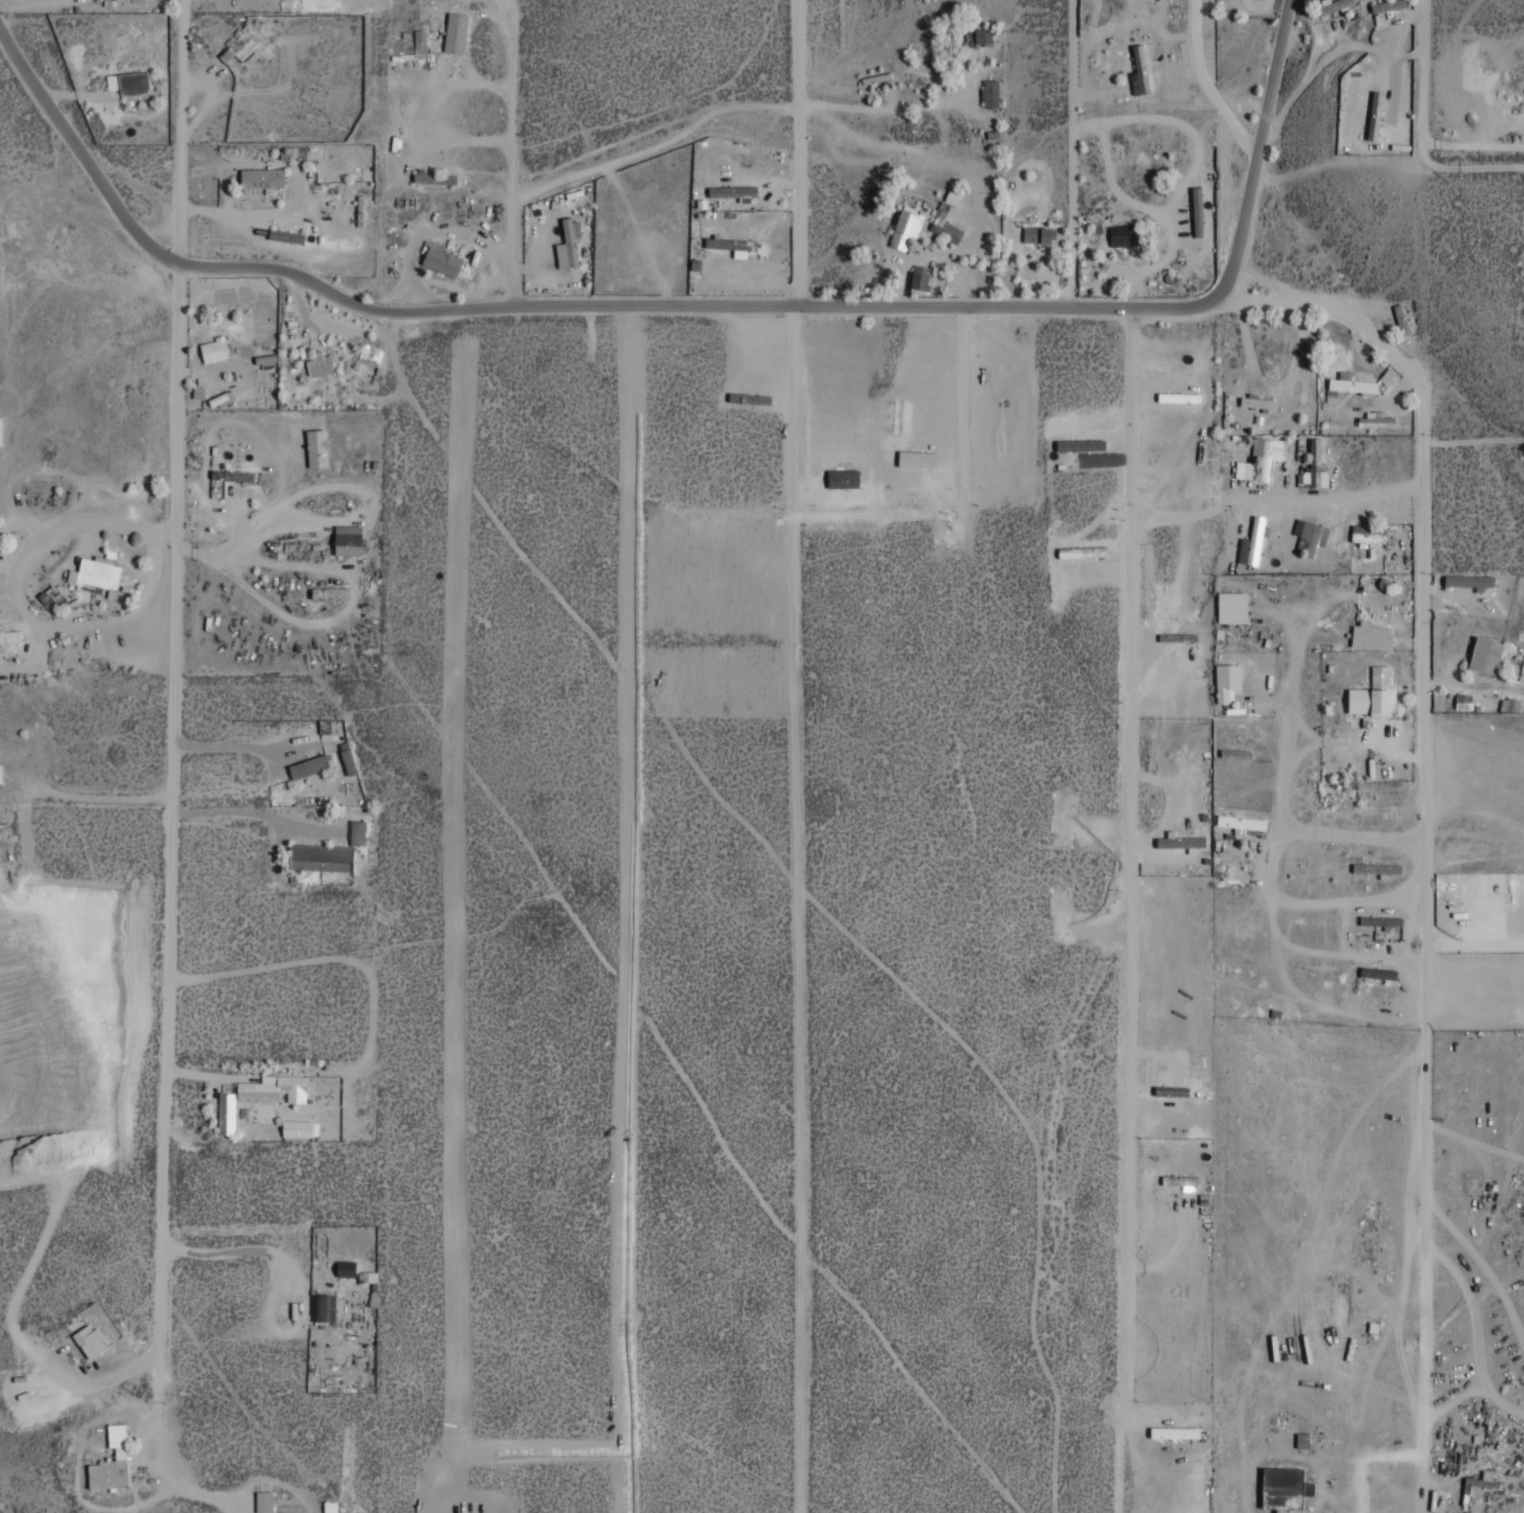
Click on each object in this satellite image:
building: (1388, 5)
building: (455, 31)
building: (978, 37)
building: (419, 40)
building: (239, 46)
building: (1139, 71)
building: (127, 81)
building: (990, 93)
building: (1374, 114)
road: (182, 134)
building: (297, 150)
road: (799, 153)
road: (512, 157)
building: (261, 177)
building: (433, 177)
building: (732, 191)
building: (1197, 210)
building: (941, 213)
building: (906, 225)
building: (1038, 234)
building: (1122, 234)
building: (285, 235)
building: (568, 244)
building: (731, 245)
building: (441, 260)
building: (920, 278)
road: (697, 304)
building: (214, 349)
building: (318, 364)
building: (1388, 376)
building: (1347, 385)
building: (197, 392)
building: (1178, 396)
building: (1255, 401)
building: (1376, 419)
building: (1080, 444)
building: (316, 447)
building: (917, 459)
building: (1259, 459)
building: (1315, 466)
building: (233, 475)
building: (843, 478)
building: (1368, 534)
building: (1309, 535)
building: (347, 539)
building: (1251, 543)
road: (1423, 548)
building: (1082, 551)
building: (97, 574)
building: (1470, 581)
building: (329, 593)
building: (1232, 607)
building: (9, 636)
building: (1370, 636)
building: (1485, 655)
building: (1227, 682)
building: (1374, 695)
building: (1463, 701)
building: (324, 725)
building: (347, 761)
building: (308, 766)
building: (0, 774)
building: (1241, 823)
building: (357, 832)
building: (1180, 841)
building: (320, 857)
building: (1377, 869)
road: (170, 878)
building: (1381, 921)
building: (1378, 972)
building: (274, 1088)
building: (1171, 1091)
building: (226, 1113)
building: (299, 1128)
building: (1181, 1181)
building: (345, 1268)
building: (323, 1308)
building: (89, 1340)
building: (1174, 1432)
building: (1302, 1439)
building: (110, 1462)
building: (1474, 1485)
building: (1283, 1488)
building: (263, 1501)
building: (330, 1506)

